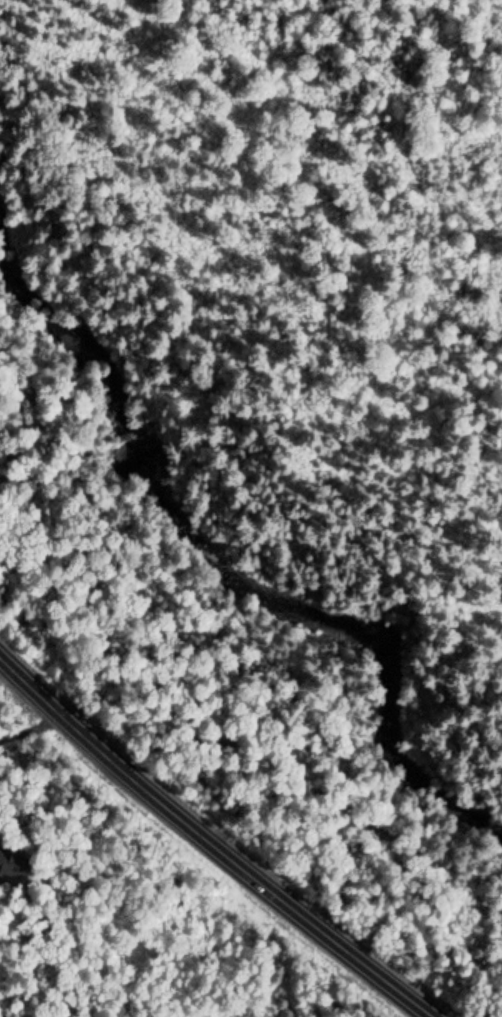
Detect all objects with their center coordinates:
river: (222, 528)
road: (210, 842)
building: (9, 868)

